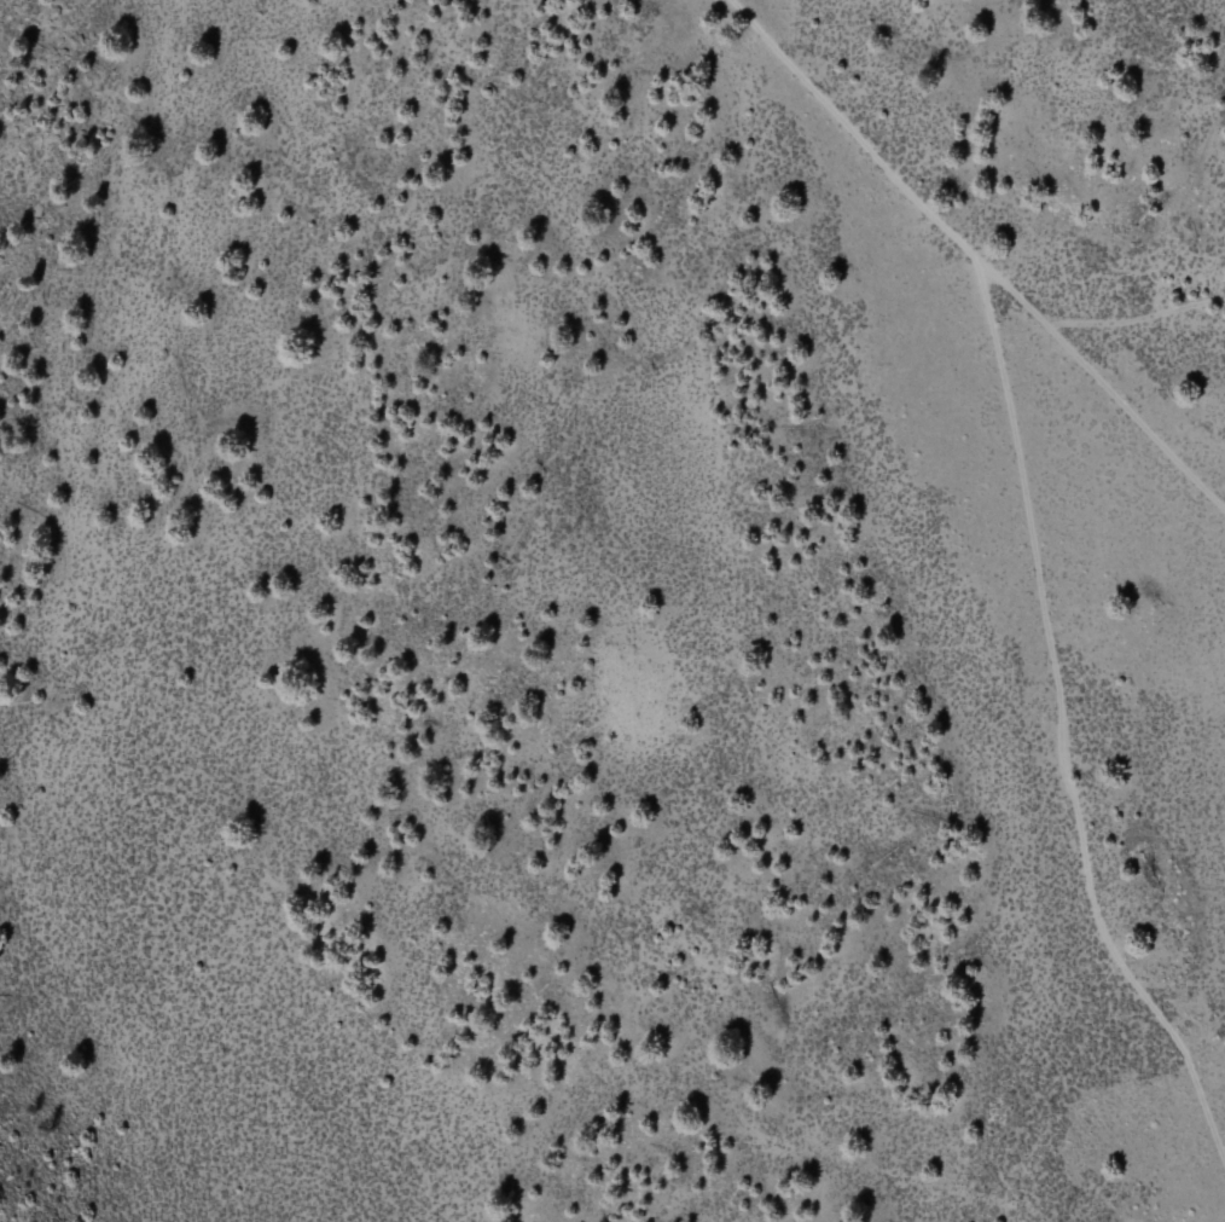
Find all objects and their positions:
road: (970, 261)
road: (1138, 326)
road: (1062, 729)

